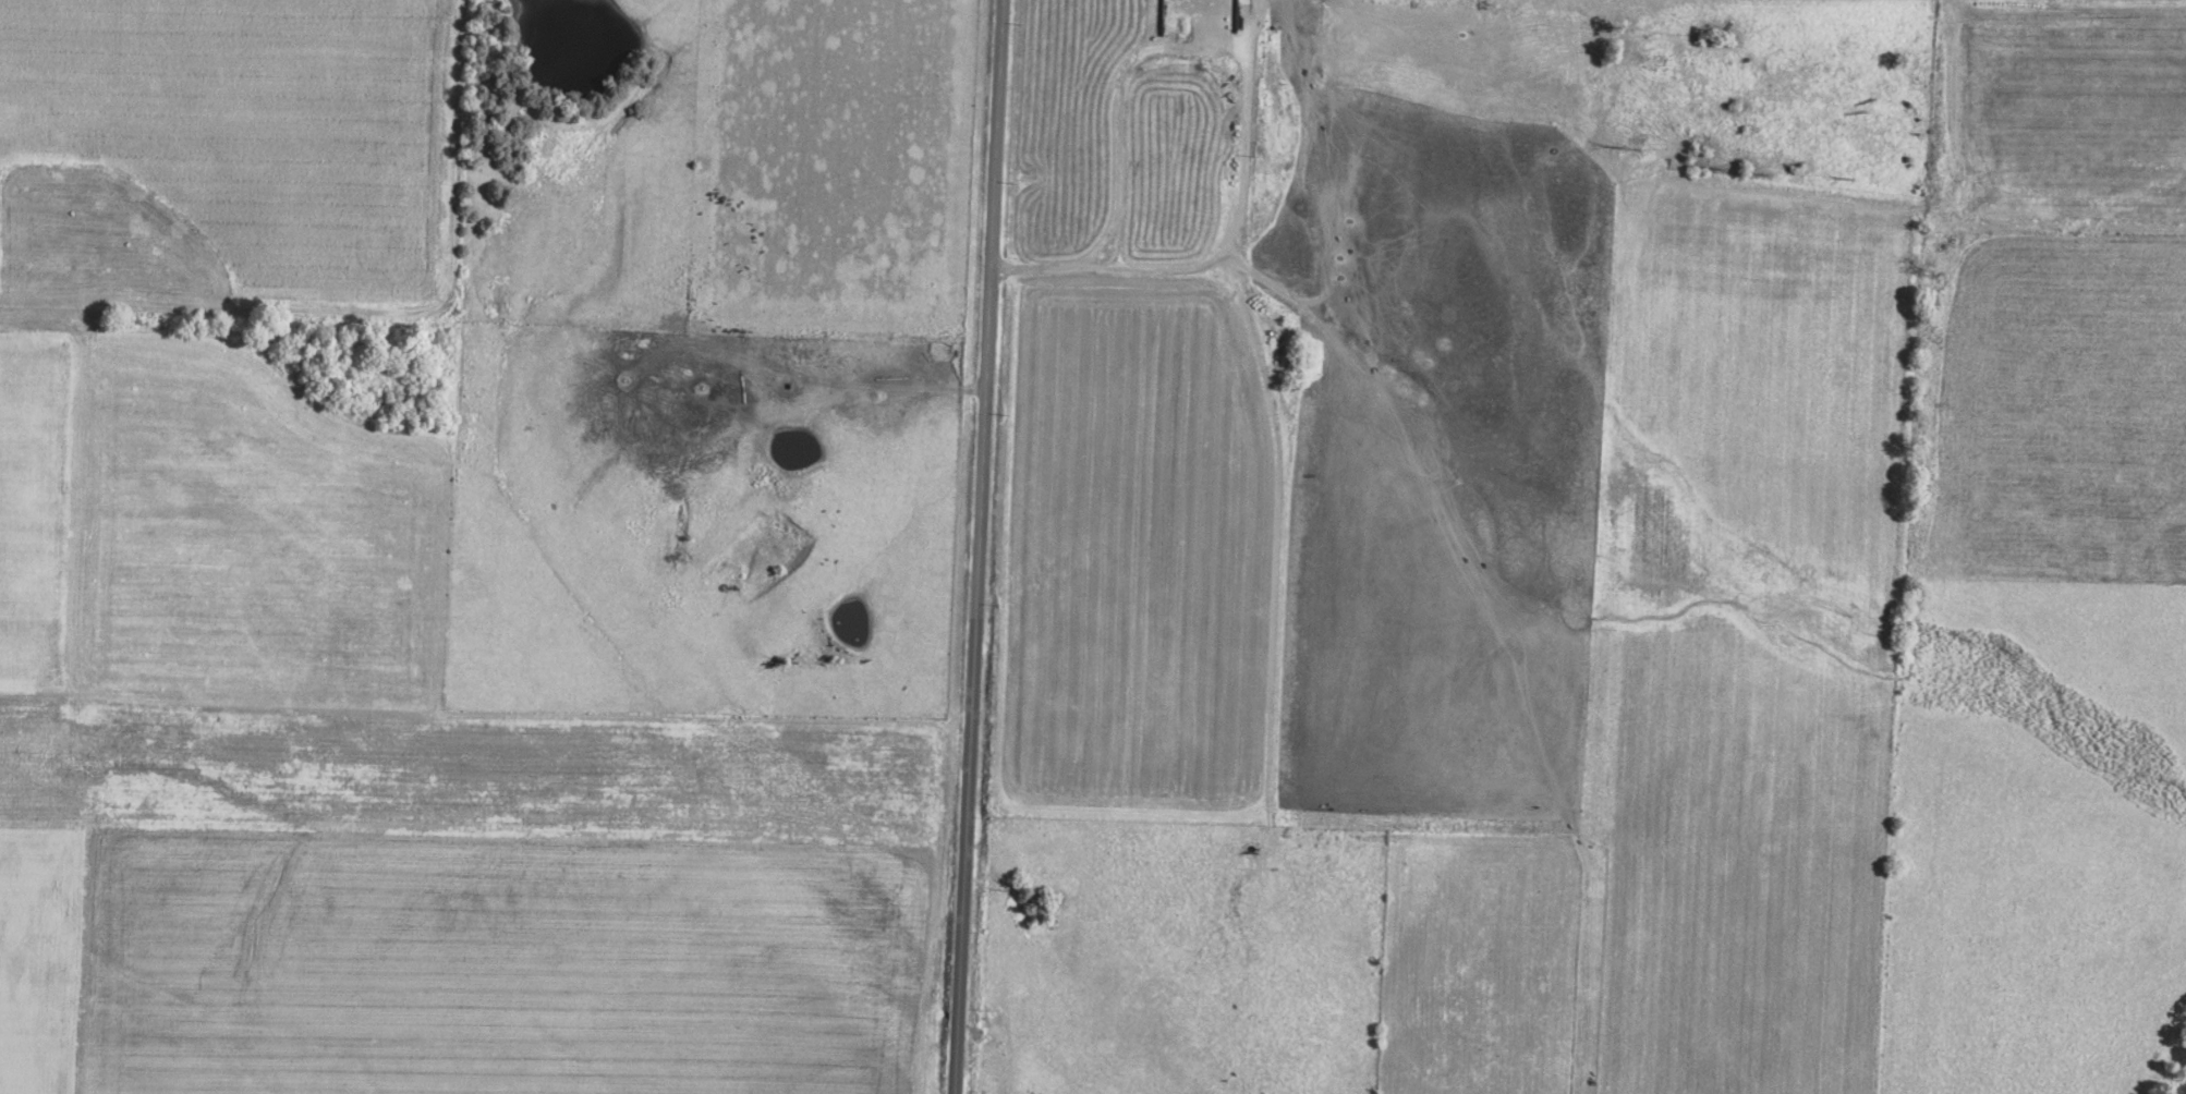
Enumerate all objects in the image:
road: (1232, 253)
road: (979, 546)

